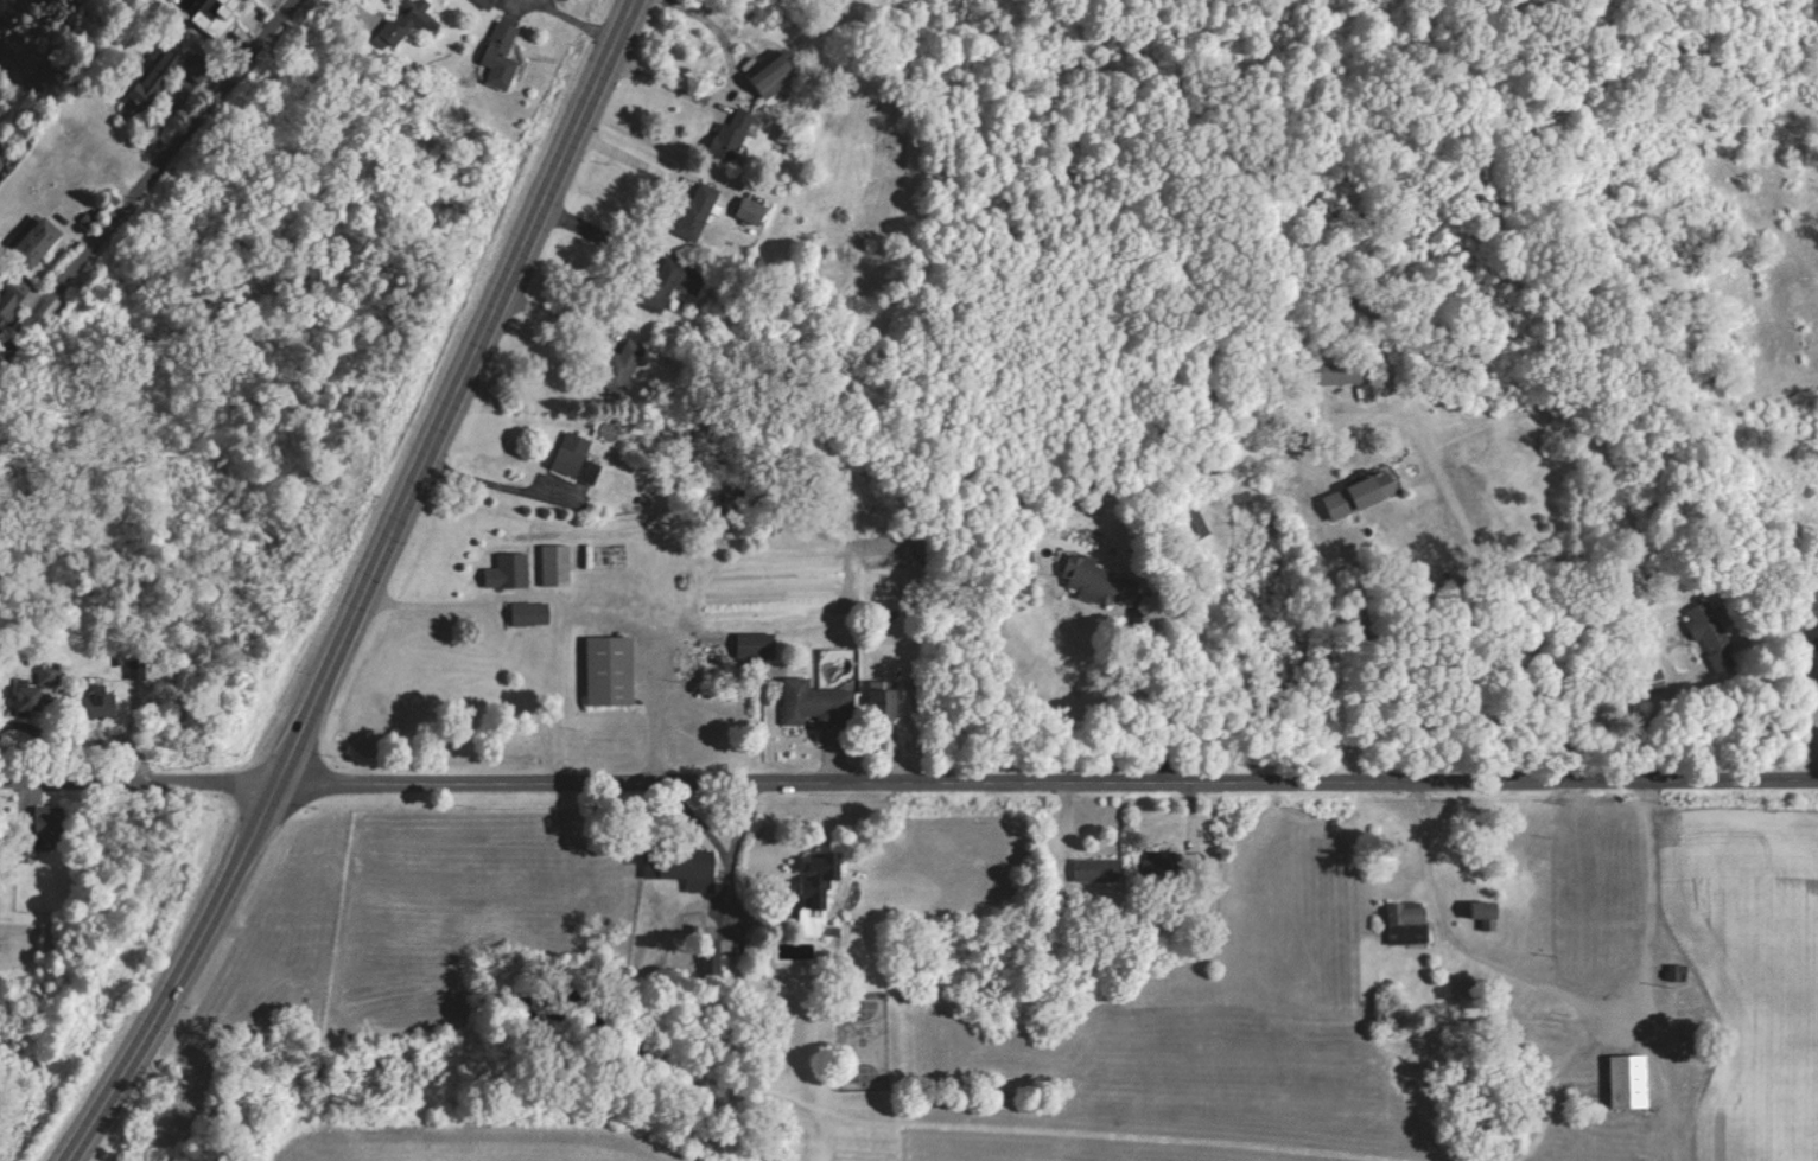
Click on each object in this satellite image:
building: (487, 4)
building: (220, 17)
building: (408, 21)
building: (502, 57)
building: (774, 76)
road: (736, 91)
building: (731, 135)
road: (637, 158)
road: (146, 179)
building: (695, 212)
building: (750, 212)
building: (38, 241)
building: (7, 305)
building: (1339, 371)
building: (571, 455)
road: (494, 480)
building: (1347, 497)
building: (1191, 527)
road: (1483, 568)
building: (508, 572)
building: (1085, 581)
road: (365, 586)
road: (553, 589)
building: (1702, 629)
building: (752, 646)
building: (609, 671)
building: (1647, 682)
building: (101, 695)
building: (806, 703)
building: (873, 707)
road: (908, 782)
building: (1145, 866)
building: (1182, 866)
building: (682, 869)
building: (1087, 872)
building: (821, 879)
building: (1473, 916)
building: (812, 918)
building: (1397, 924)
building: (1671, 974)
road: (1560, 991)
building: (1622, 1083)

